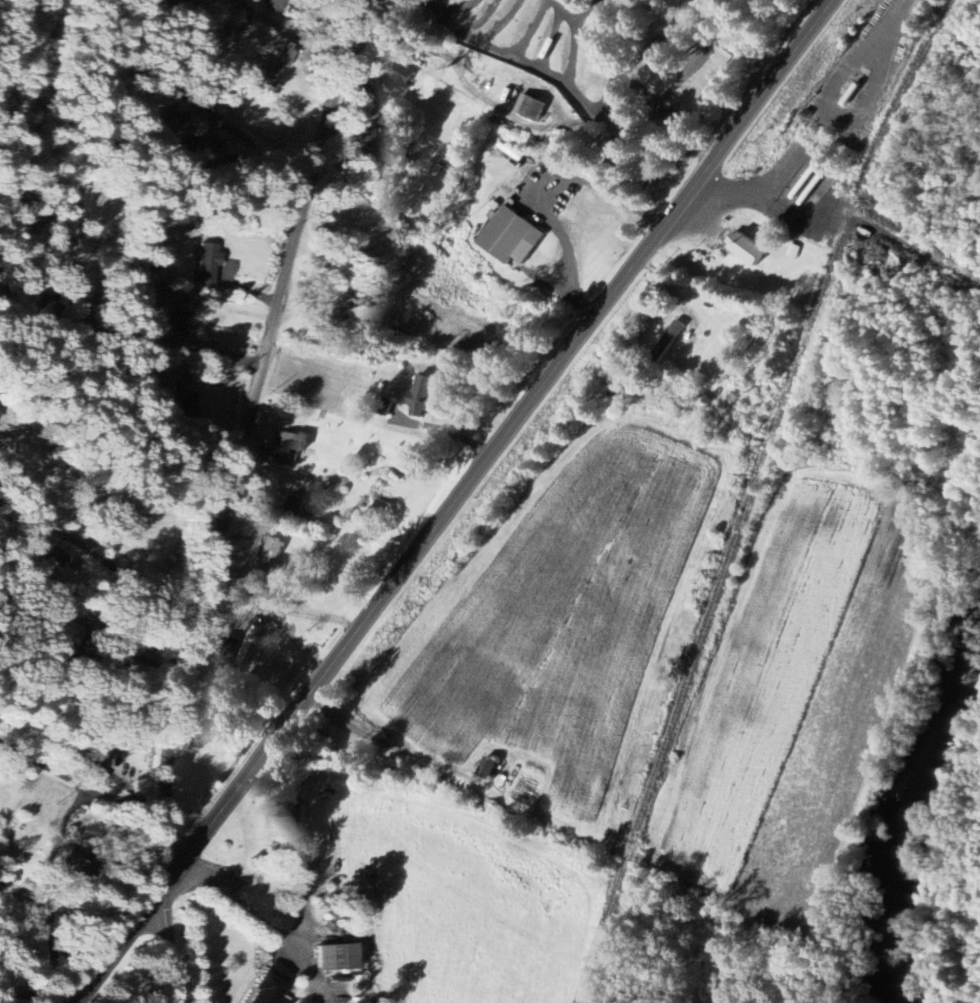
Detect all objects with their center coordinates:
road: (292, 36)
building: (401, 77)
building: (527, 108)
road: (677, 118)
building: (364, 149)
road: (556, 205)
building: (507, 237)
building: (744, 249)
building: (205, 263)
road: (127, 308)
building: (666, 340)
building: (0, 406)
road: (244, 427)
building: (287, 447)
railway: (751, 494)
road: (458, 504)
road: (93, 551)
building: (270, 558)
road: (80, 621)
building: (249, 644)
road: (48, 767)
building: (484, 769)
road: (78, 802)
river: (907, 812)
building: (75, 867)
road: (259, 912)
road: (169, 940)
building: (340, 956)
building: (271, 989)
road: (37, 991)

